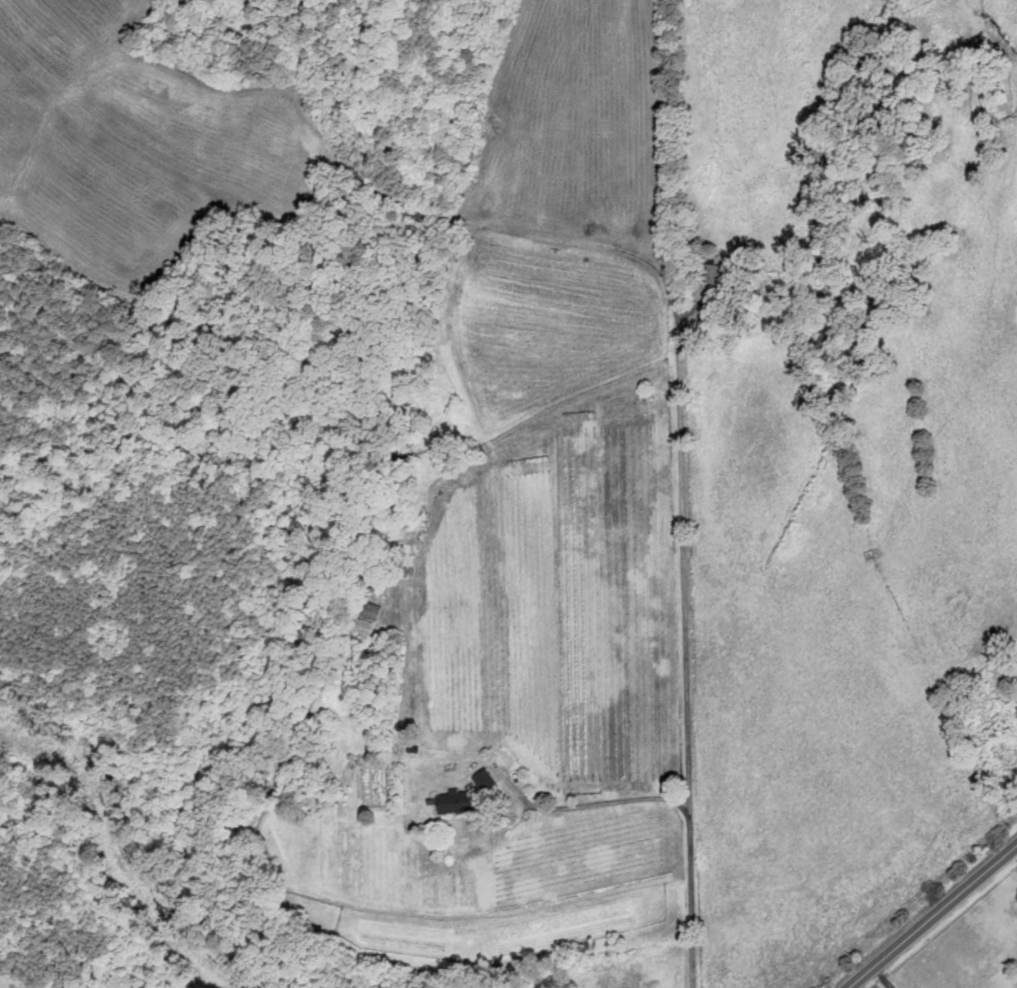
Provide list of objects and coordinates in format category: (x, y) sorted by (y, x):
building: (711, 273)
road: (680, 367)
building: (379, 582)
building: (370, 610)
building: (1004, 756)
building: (465, 794)
road: (589, 805)
road: (932, 915)

